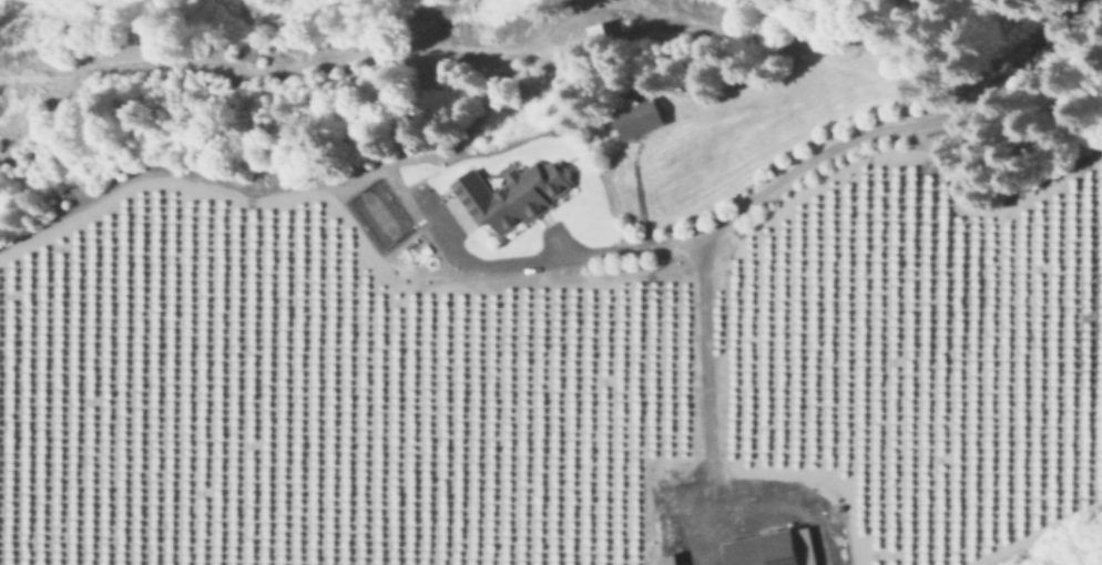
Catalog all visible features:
building: (602, 35)
building: (643, 120)
road: (909, 134)
building: (519, 195)
road: (559, 261)
crop: (569, 351)
road: (707, 372)
building: (768, 548)
building: (674, 561)

